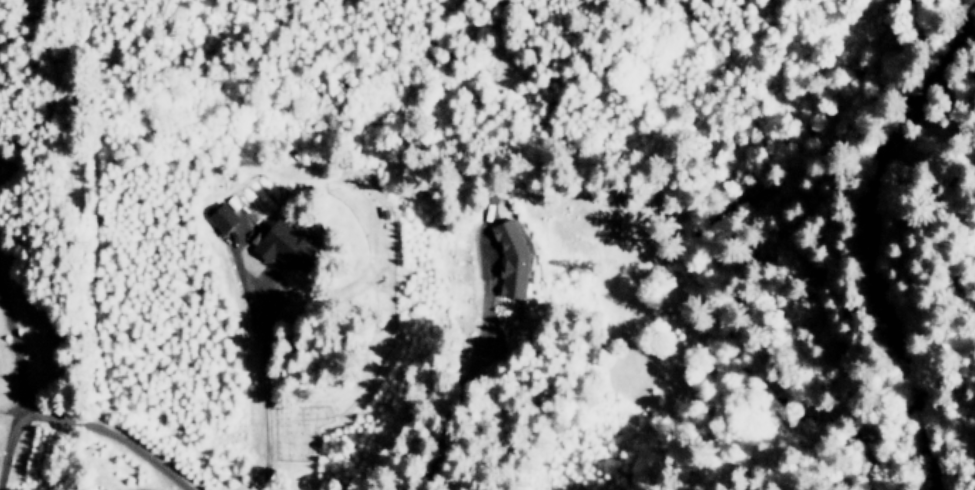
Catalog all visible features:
road: (968, 6)
building: (222, 217)
road: (864, 242)
building: (285, 244)
building: (511, 258)
road: (13, 355)
road: (263, 386)
road: (111, 436)
road: (8, 448)

